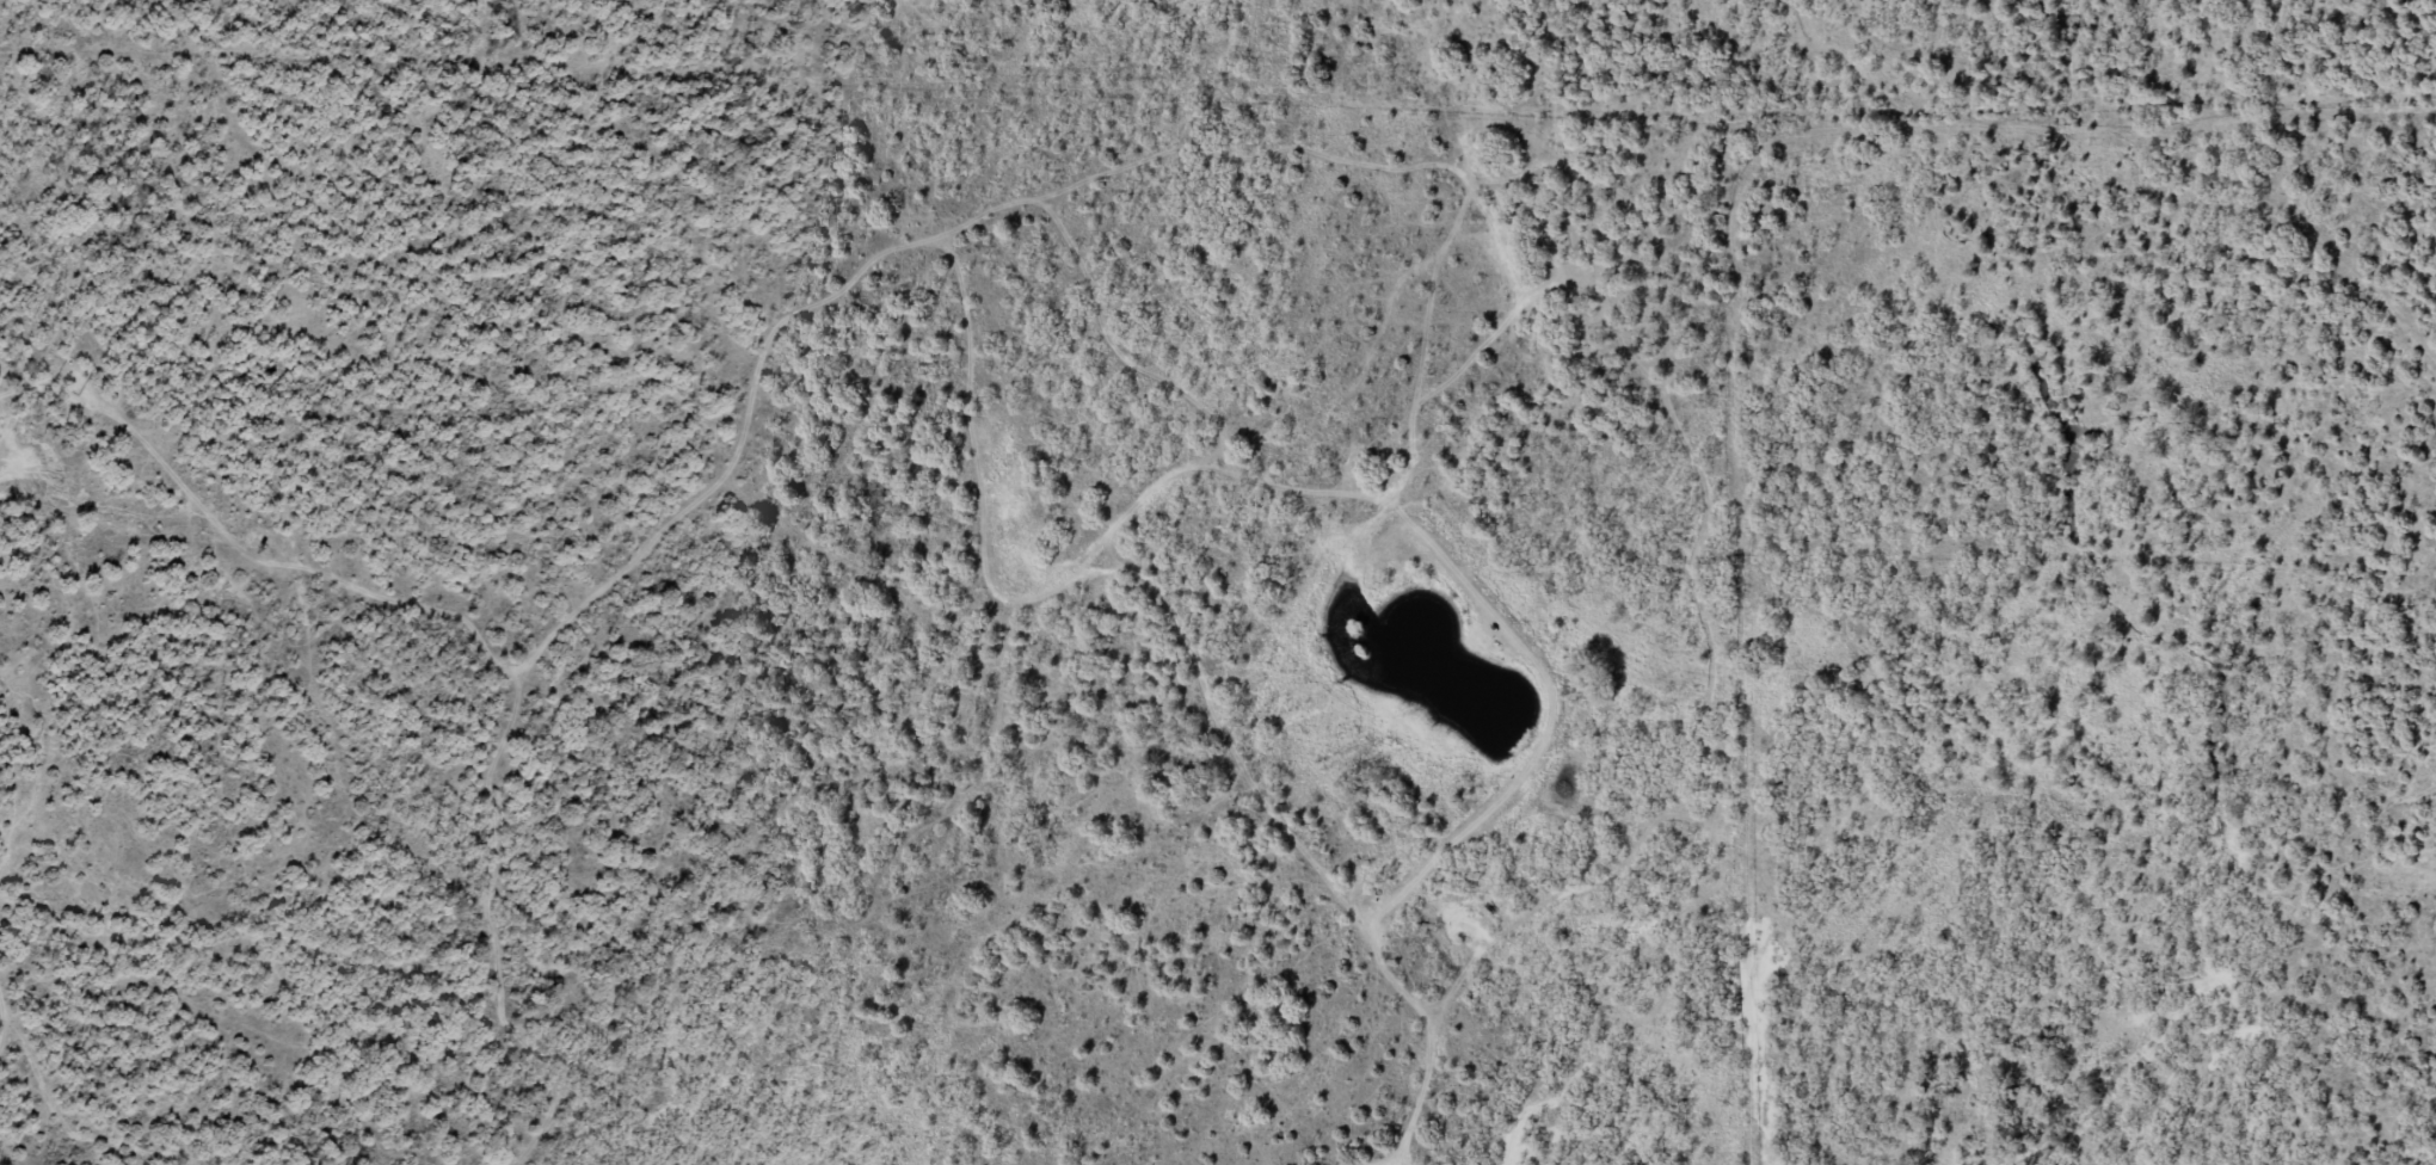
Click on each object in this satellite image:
road: (1665, 955)
road: (1465, 1160)

